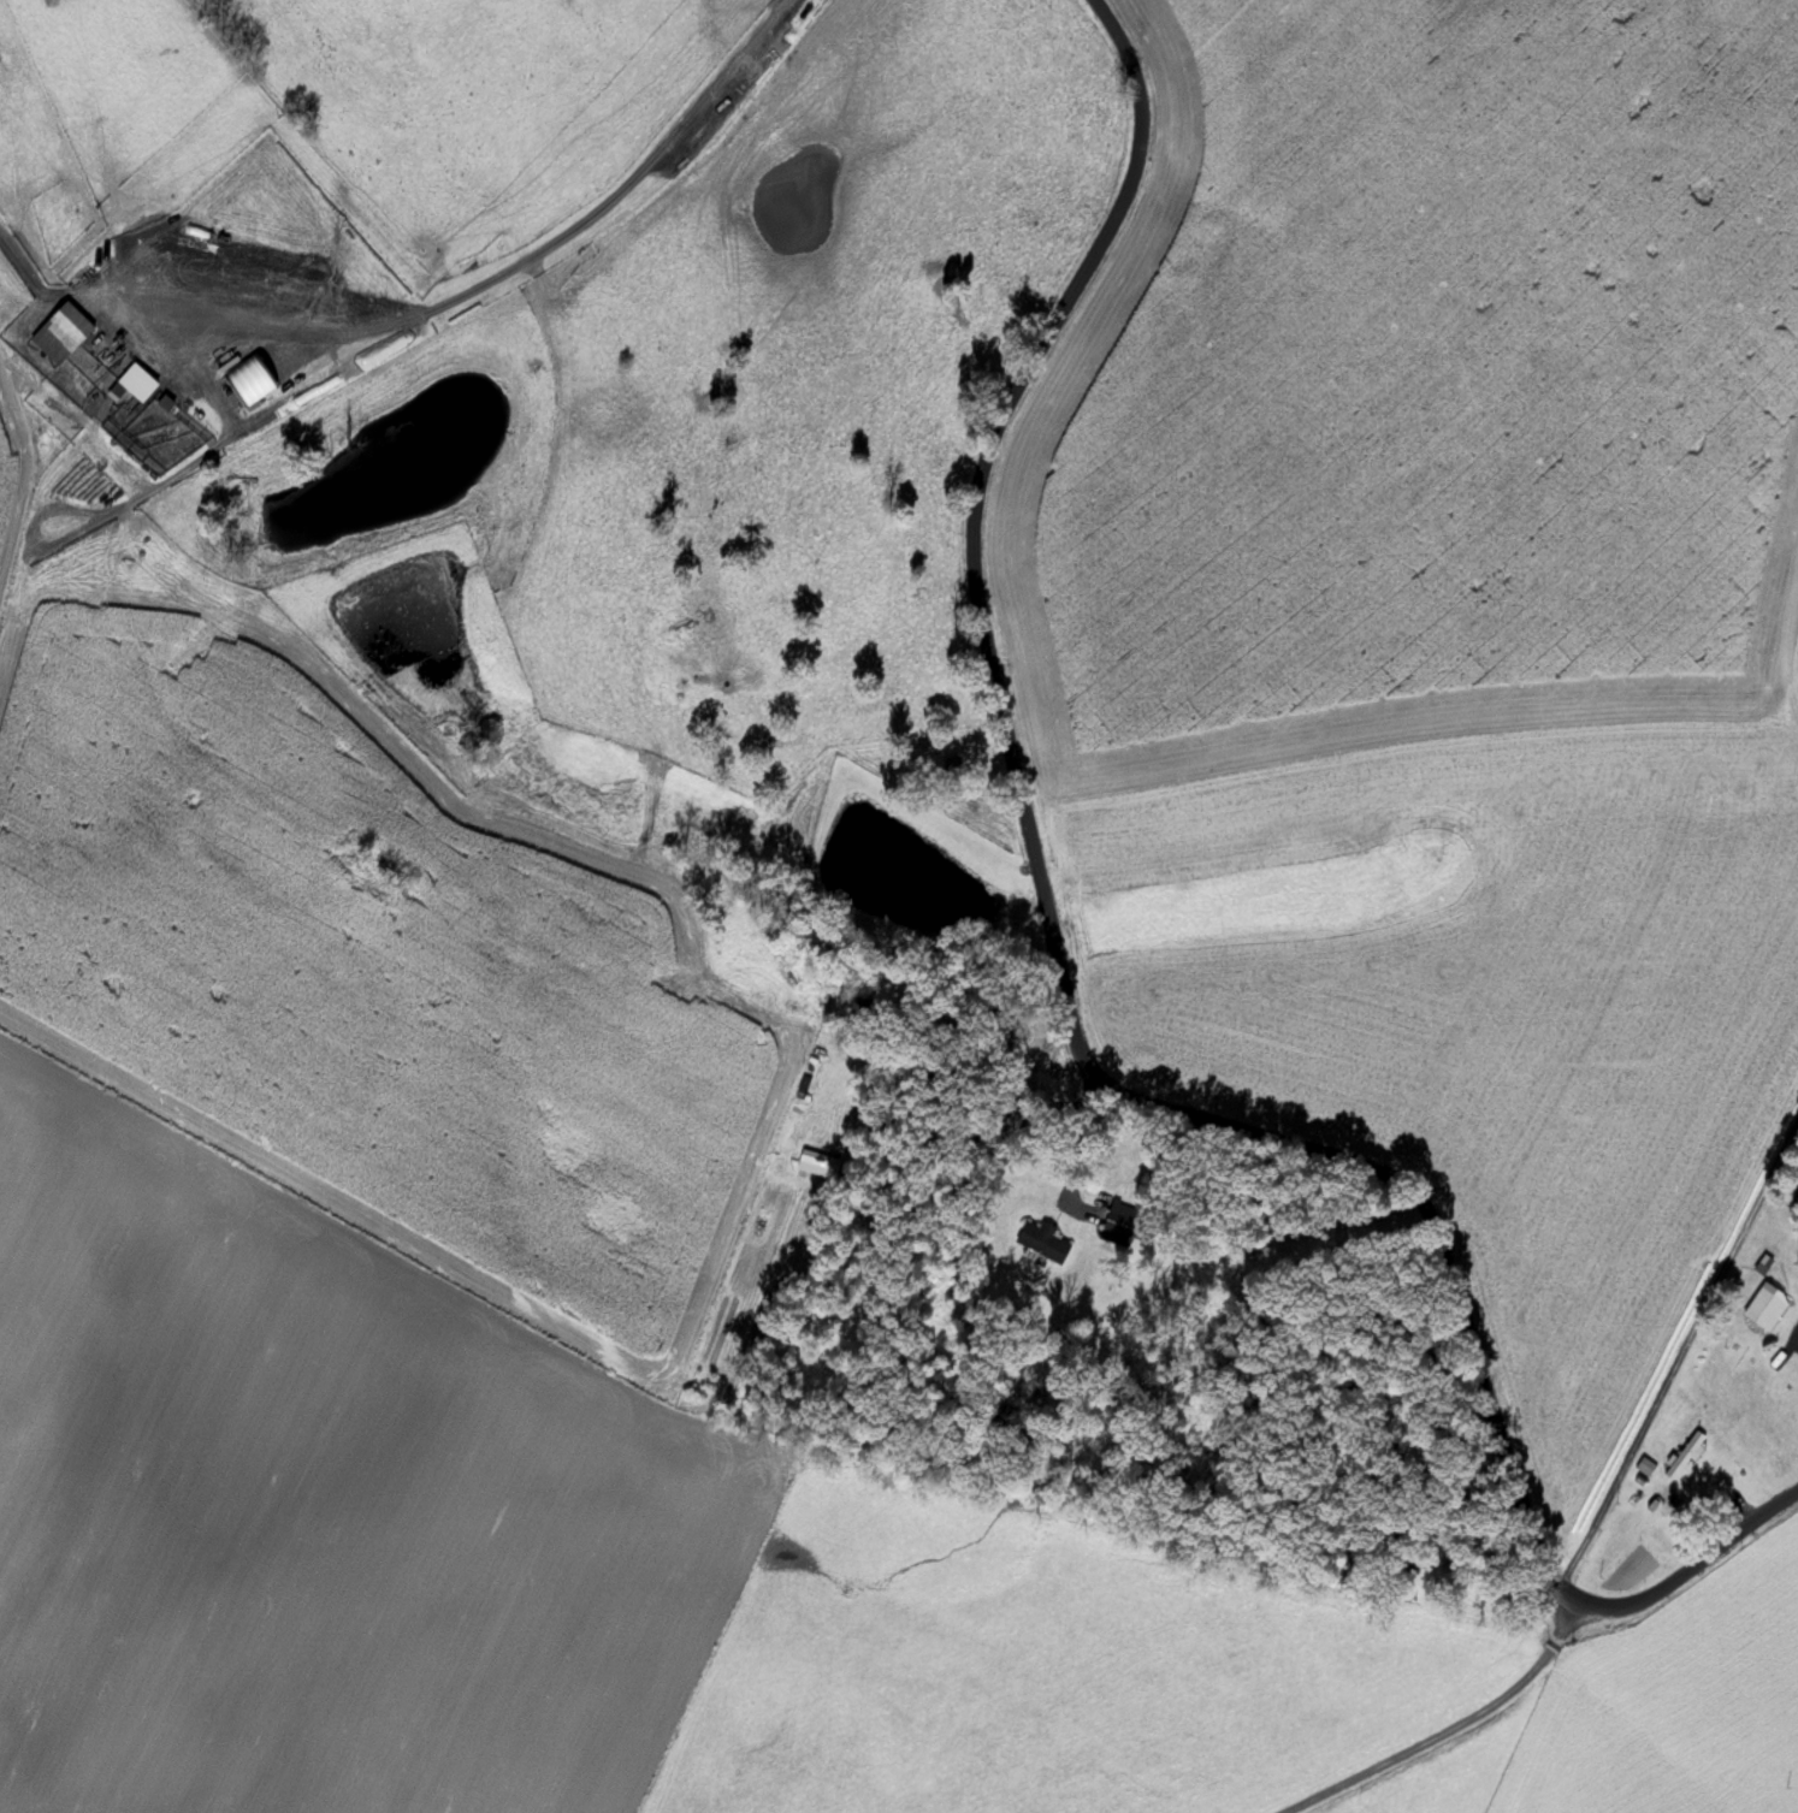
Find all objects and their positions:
building: (60, 334)
road: (1072, 1044)
building: (1119, 1221)
building: (1042, 1243)
building: (1766, 1310)
building: (1684, 1457)
building: (1666, 1503)
road: (1389, 1718)

